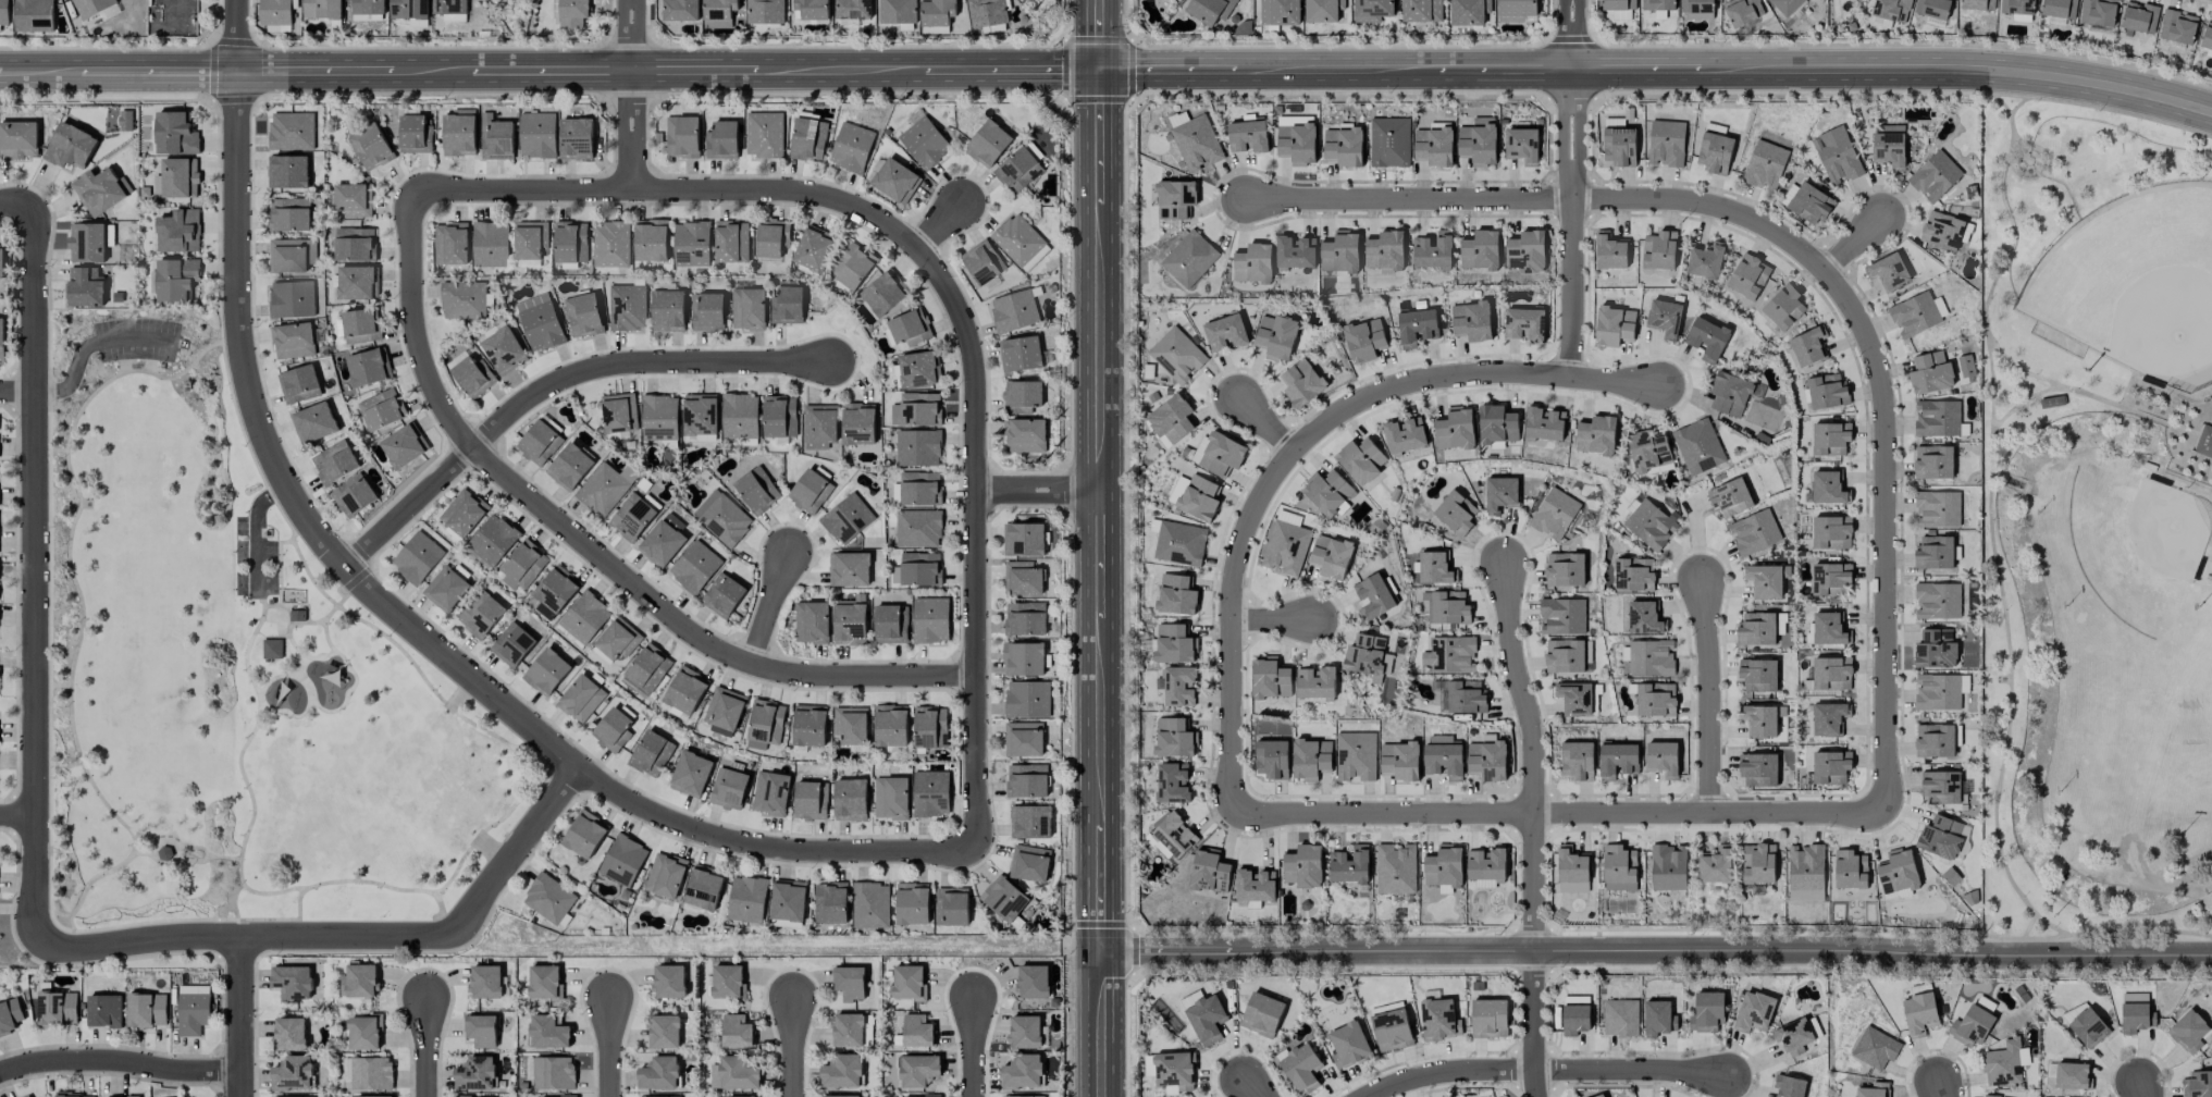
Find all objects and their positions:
building: (1026, 1)
building: (1618, 4)
building: (1657, 4)
building: (1978, 4)
building: (1788, 5)
building: (91, 7)
building: (369, 7)
building: (449, 7)
building: (2017, 7)
building: (1698, 8)
building: (322, 9)
building: (409, 9)
building: (853, 9)
building: (1932, 9)
building: (680, 10)
building: (811, 10)
building: (1210, 10)
building: (1372, 10)
building: (1516, 10)
building: (1891, 10)
building: (898, 11)
building: (1323, 11)
building: (1422, 11)
building: (1743, 11)
building: (2059, 11)
building: (4, 12)
building: (275, 12)
building: (765, 12)
building: (938, 12)
building: (1280, 12)
building: (1469, 12)
building: (2098, 12)
building: (573, 13)
building: (718, 13)
building: (987, 13)
building: (34, 15)
building: (2139, 17)
building: (2177, 27)
road: (1571, 35)
road: (1099, 36)
building: (2207, 37)
road: (1108, 71)
road: (634, 96)
building: (292, 131)
building: (459, 133)
building: (175, 134)
building: (415, 134)
building: (537, 135)
building: (764, 135)
building: (1248, 136)
building: (682, 137)
road: (1098, 137)
building: (18, 139)
building: (576, 139)
building: (808, 139)
building: (497, 140)
building: (721, 140)
building: (924, 140)
building: (1297, 140)
building: (1479, 141)
building: (1389, 143)
building: (988, 144)
building: (1197, 144)
building: (1666, 144)
building: (70, 146)
building: (1522, 146)
building: (1620, 146)
building: (371, 147)
building: (851, 147)
building: (1344, 147)
building: (1434, 147)
building: (1889, 149)
building: (1715, 153)
building: (1837, 156)
building: (1765, 165)
building: (1018, 170)
building: (287, 172)
building: (1935, 176)
building: (180, 177)
building: (895, 181)
building: (157, 185)
building: (100, 190)
building: (354, 199)
building: (1175, 199)
building: (1811, 204)
road: (17, 206)
building: (289, 214)
road: (1571, 224)
road: (943, 230)
building: (1942, 230)
building: (178, 232)
building: (771, 237)
building: (531, 239)
building: (651, 241)
building: (87, 242)
building: (571, 242)
building: (731, 242)
building: (1020, 242)
building: (355, 244)
building: (452, 244)
building: (491, 244)
building: (611, 244)
building: (691, 244)
road: (1852, 246)
building: (814, 249)
building: (1385, 250)
building: (1480, 250)
building: (1659, 250)
building: (1296, 251)
building: (1433, 251)
building: (1527, 251)
building: (1610, 251)
building: (1340, 252)
building: (292, 255)
road: (1807, 258)
building: (1189, 259)
building: (1705, 261)
building: (1, 262)
building: (983, 262)
building: (1253, 263)
building: (852, 267)
building: (1888, 272)
building: (1748, 276)
building: (175, 279)
park: (2134, 282)
building: (357, 283)
road: (947, 285)
building: (85, 287)
building: (883, 293)
building: (292, 299)
building: (464, 300)
building: (788, 304)
building: (627, 307)
building: (1783, 308)
building: (749, 309)
building: (668, 310)
building: (707, 311)
building: (1014, 311)
building: (1915, 315)
building: (583, 316)
building: (1665, 318)
building: (1471, 321)
building: (540, 322)
building: (361, 324)
building: (1524, 324)
building: (1614, 325)
building: (909, 328)
building: (1417, 328)
building: (1225, 333)
building: (1276, 336)
building: (1, 340)
road: (135, 340)
building: (1706, 340)
building: (293, 341)
building: (1364, 341)
parking lot: (138, 342)
building: (1808, 346)
road: (1098, 348)
building: (504, 350)
building: (1020, 354)
building: (1176, 355)
building: (1966, 366)
building: (369, 367)
building: (918, 369)
building: (1930, 373)
building: (473, 377)
road: (73, 380)
building: (1301, 383)
building: (299, 384)
road: (553, 384)
building: (1827, 391)
road: (17, 394)
building: (1731, 394)
building: (1022, 396)
building: (2054, 402)
building: (382, 409)
building: (916, 409)
building: (619, 412)
building: (700, 415)
building: (740, 416)
building: (659, 417)
building: (779, 417)
building: (1171, 418)
building: (1937, 418)
building: (314, 423)
building: (858, 423)
building: (1497, 424)
building: (1544, 424)
building: (819, 427)
road: (1264, 427)
building: (1455, 429)
building: (1025, 435)
building: (1405, 435)
building: (1596, 435)
building: (1830, 439)
building: (541, 440)
building: (2204, 442)
road: (269, 446)
building: (403, 446)
building: (917, 447)
building: (1698, 447)
road: (1297, 448)
building: (1648, 451)
building: (1222, 455)
building: (1360, 460)
building: (335, 461)
building: (1933, 461)
building: (570, 466)
building: (605, 488)
building: (919, 489)
building: (1828, 489)
building: (757, 490)
building: (811, 491)
road: (1037, 492)
building: (1327, 492)
building: (1500, 494)
building: (354, 495)
building: (1730, 497)
road: (268, 498)
building: (1199, 498)
building: (1937, 509)
building: (464, 513)
building: (1456, 513)
building: (1554, 514)
building: (634, 516)
building: (722, 518)
building: (848, 518)
building: (1651, 523)
park: (2096, 525)
building: (918, 529)
building: (1754, 532)
building: (1831, 532)
building: (492, 540)
building: (1023, 540)
building: (664, 541)
building: (1179, 543)
building: (1286, 544)
park: (2139, 548)
road: (589, 550)
building: (1933, 553)
road: (1099, 555)
road: (258, 556)
building: (1331, 556)
building: (417, 558)
parking lot: (255, 559)
building: (523, 565)
building: (695, 567)
building: (1435, 568)
building: (850, 569)
building: (920, 569)
building: (1565, 569)
building: (1634, 575)
road: (35, 577)
building: (1023, 579)
building: (1831, 580)
building: (1765, 581)
building: (445, 589)
building: (555, 592)
building: (722, 595)
building: (1176, 595)
building: (1373, 597)
building: (1937, 601)
building: (1447, 607)
road: (769, 608)
building: (481, 615)
building: (297, 616)
building: (1562, 616)
building: (584, 617)
building: (1025, 618)
building: (1644, 618)
building: (930, 620)
building: (812, 623)
road: (1272, 623)
building: (850, 624)
building: (891, 624)
building: (1780, 624)
building: (1756, 628)
building: (1829, 629)
building: (618, 640)
building: (512, 644)
building: (1174, 644)
park: (2208, 645)
building: (272, 649)
building: (1935, 650)
building: (1450, 655)
building: (1368, 656)
building: (1565, 656)
building: (1023, 658)
building: (1651, 658)
building: (648, 668)
building: (546, 671)
building: (1831, 674)
park: (234, 675)
building: (1758, 675)
building: (1271, 679)
building: (1315, 682)
building: (1178, 686)
building: (685, 690)
building: (1937, 692)
road: (1709, 698)
building: (581, 699)
building: (1027, 699)
building: (1577, 699)
building: (1656, 700)
building: (724, 712)
building: (1829, 718)
building: (1760, 720)
building: (766, 722)
road: (1099, 722)
building: (810, 725)
building: (851, 725)
building: (890, 725)
building: (930, 727)
building: (613, 729)
building: (1024, 739)
building: (1174, 739)
building: (1935, 740)
building: (651, 753)
building: (1356, 756)
road: (1532, 756)
building: (1311, 759)
building: (1487, 759)
building: (1663, 759)
building: (1272, 760)
building: (1399, 761)
building: (1577, 761)
building: (1618, 761)
building: (1831, 767)
building: (1758, 769)
building: (691, 774)
building: (1026, 780)
building: (1172, 782)
building: (1940, 788)
building: (728, 789)
building: (770, 793)
building: (930, 793)
building: (891, 798)
building: (811, 800)
building: (850, 800)
road: (18, 815)
road: (1557, 815)
building: (1030, 822)
building: (584, 835)
building: (1172, 837)
building: (1942, 837)
road: (768, 848)
building: (622, 861)
building: (1029, 863)
building: (1349, 864)
building: (1758, 864)
building: (1716, 865)
building: (1303, 866)
building: (1443, 866)
building: (1486, 866)
building: (1668, 867)
building: (1619, 868)
building: (1395, 870)
building: (1850, 870)
building: (1572, 871)
building: (1210, 872)
building: (1898, 872)
building: (1806, 873)
building: (665, 875)
building: (704, 887)
building: (1255, 887)
road: (1099, 888)
building: (548, 898)
building: (746, 899)
building: (1003, 899)
building: (788, 901)
building: (830, 903)
building: (912, 903)
building: (870, 905)
building: (952, 907)
road: (450, 933)
road: (139, 942)
road: (1655, 953)
building: (360, 981)
building: (292, 982)
building: (486, 982)
building: (544, 982)
building: (669, 982)
building: (728, 982)
building: (1034, 982)
building: (850, 983)
building: (909, 983)
building: (1190, 998)
building: (57, 1008)
building: (193, 1009)
building: (147, 1010)
building: (104, 1011)
building: (2074, 1011)
building: (1707, 1012)
building: (1754, 1012)
building: (2136, 1013)
building: (1262, 1014)
building: (1919, 1014)
building: (10, 1015)
road: (240, 1016)
building: (1620, 1018)
building: (1490, 1019)
building: (1659, 1019)
building: (1207, 1020)
building: (1439, 1020)
building: (1575, 1020)
road: (1099, 1024)
road: (1533, 1025)
building: (1970, 1027)
building: (2088, 1028)
building: (848, 1030)
building: (1392, 1030)
building: (481, 1031)
building: (917, 1031)
building: (548, 1032)
building: (664, 1032)
building: (737, 1032)
building: (1025, 1032)
building: (2188, 1032)
building: (364, 1033)
building: (291, 1034)
building: (1794, 1036)
building: (1348, 1046)
road: (793, 1048)
road: (974, 1048)
building: (1876, 1048)
road: (428, 1049)
road: (609, 1049)
road: (119, 1063)
building: (2004, 1065)
building: (1301, 1068)
building: (918, 1071)
road: (1545, 1071)
building: (842, 1072)
building: (1023, 1072)
building: (1174, 1072)
building: (293, 1073)
building: (371, 1073)
building: (554, 1073)
building: (475, 1074)
building: (659, 1074)
building: (734, 1074)
building: (2072, 1076)
building: (2198, 1084)
building: (1790, 1086)
road: (1249, 1089)
road: (1943, 1089)
road: (2142, 1089)
building: (1874, 1090)
building: (74, 1095)
building: (129, 1096)
building: (371, 1096)
building: (663, 1096)
building: (839, 1096)
building: (1024, 1096)
building: (1602, 1096)
building: (1990, 1096)

